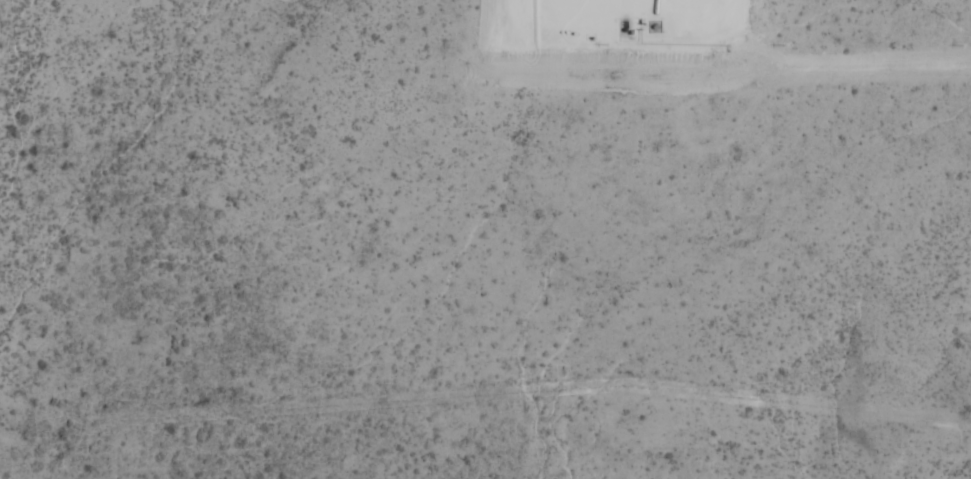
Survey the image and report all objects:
road: (575, 17)

